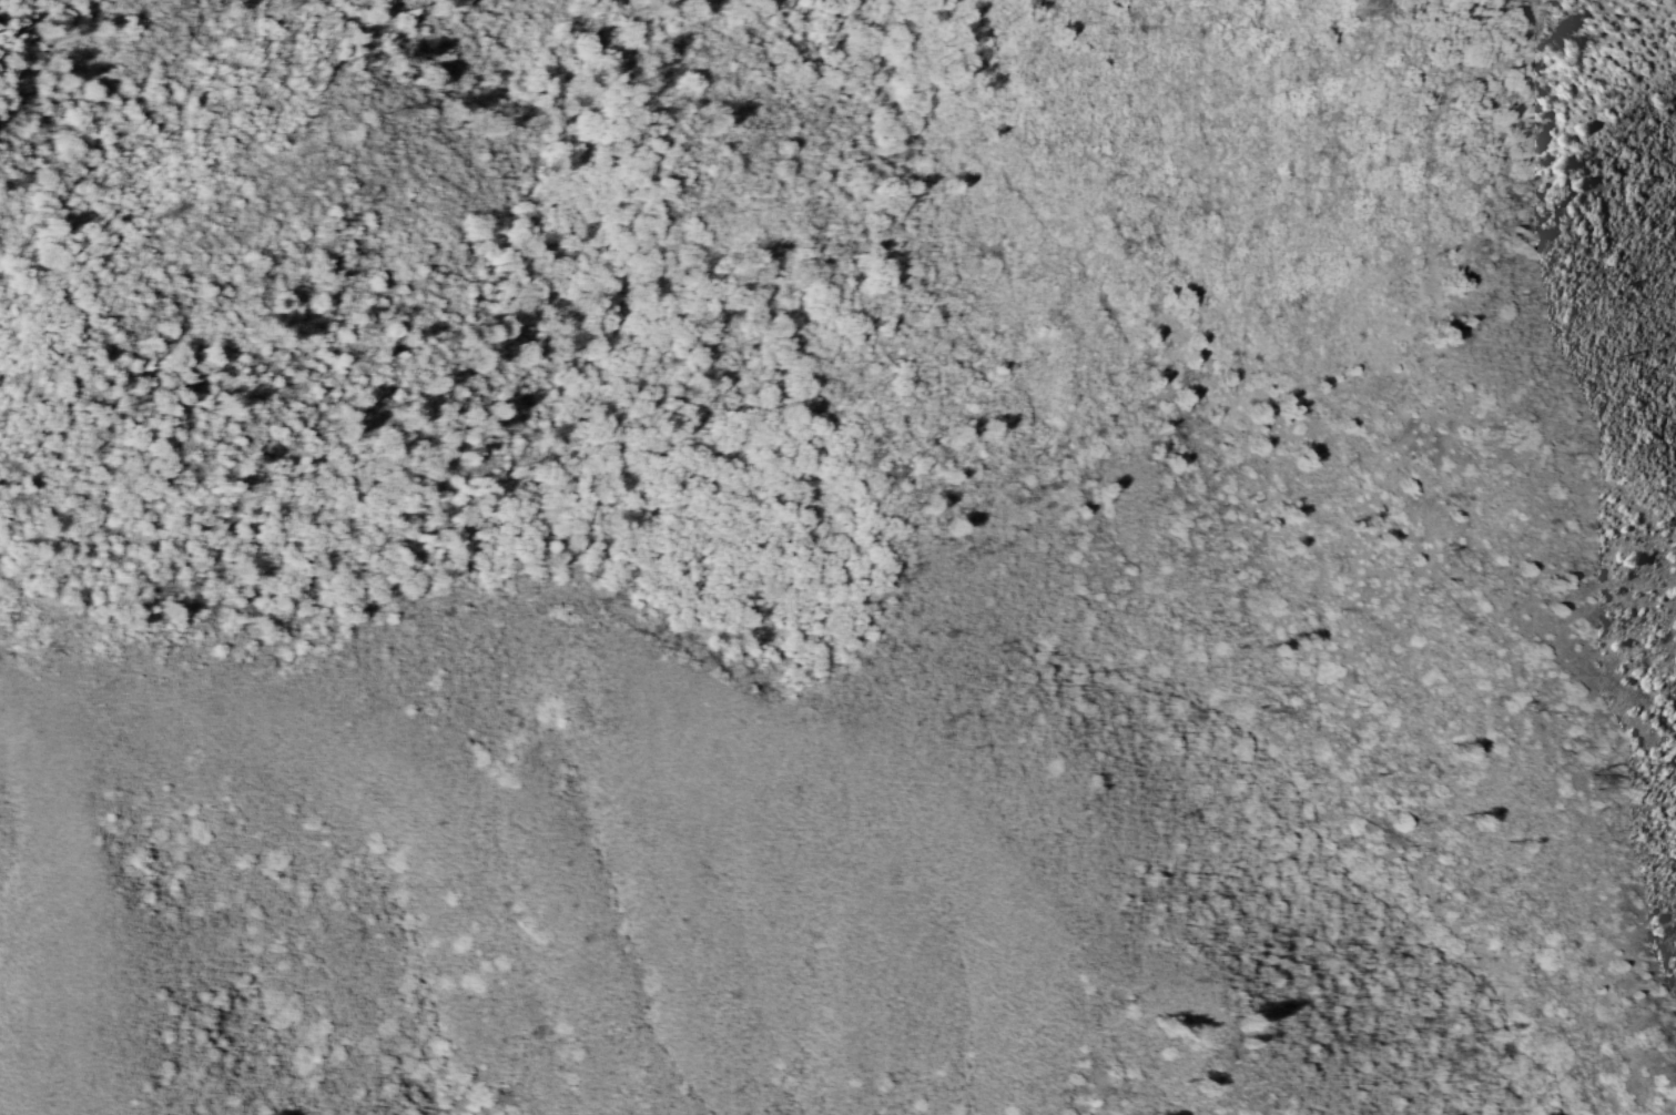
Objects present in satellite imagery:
road: (912, 621)

